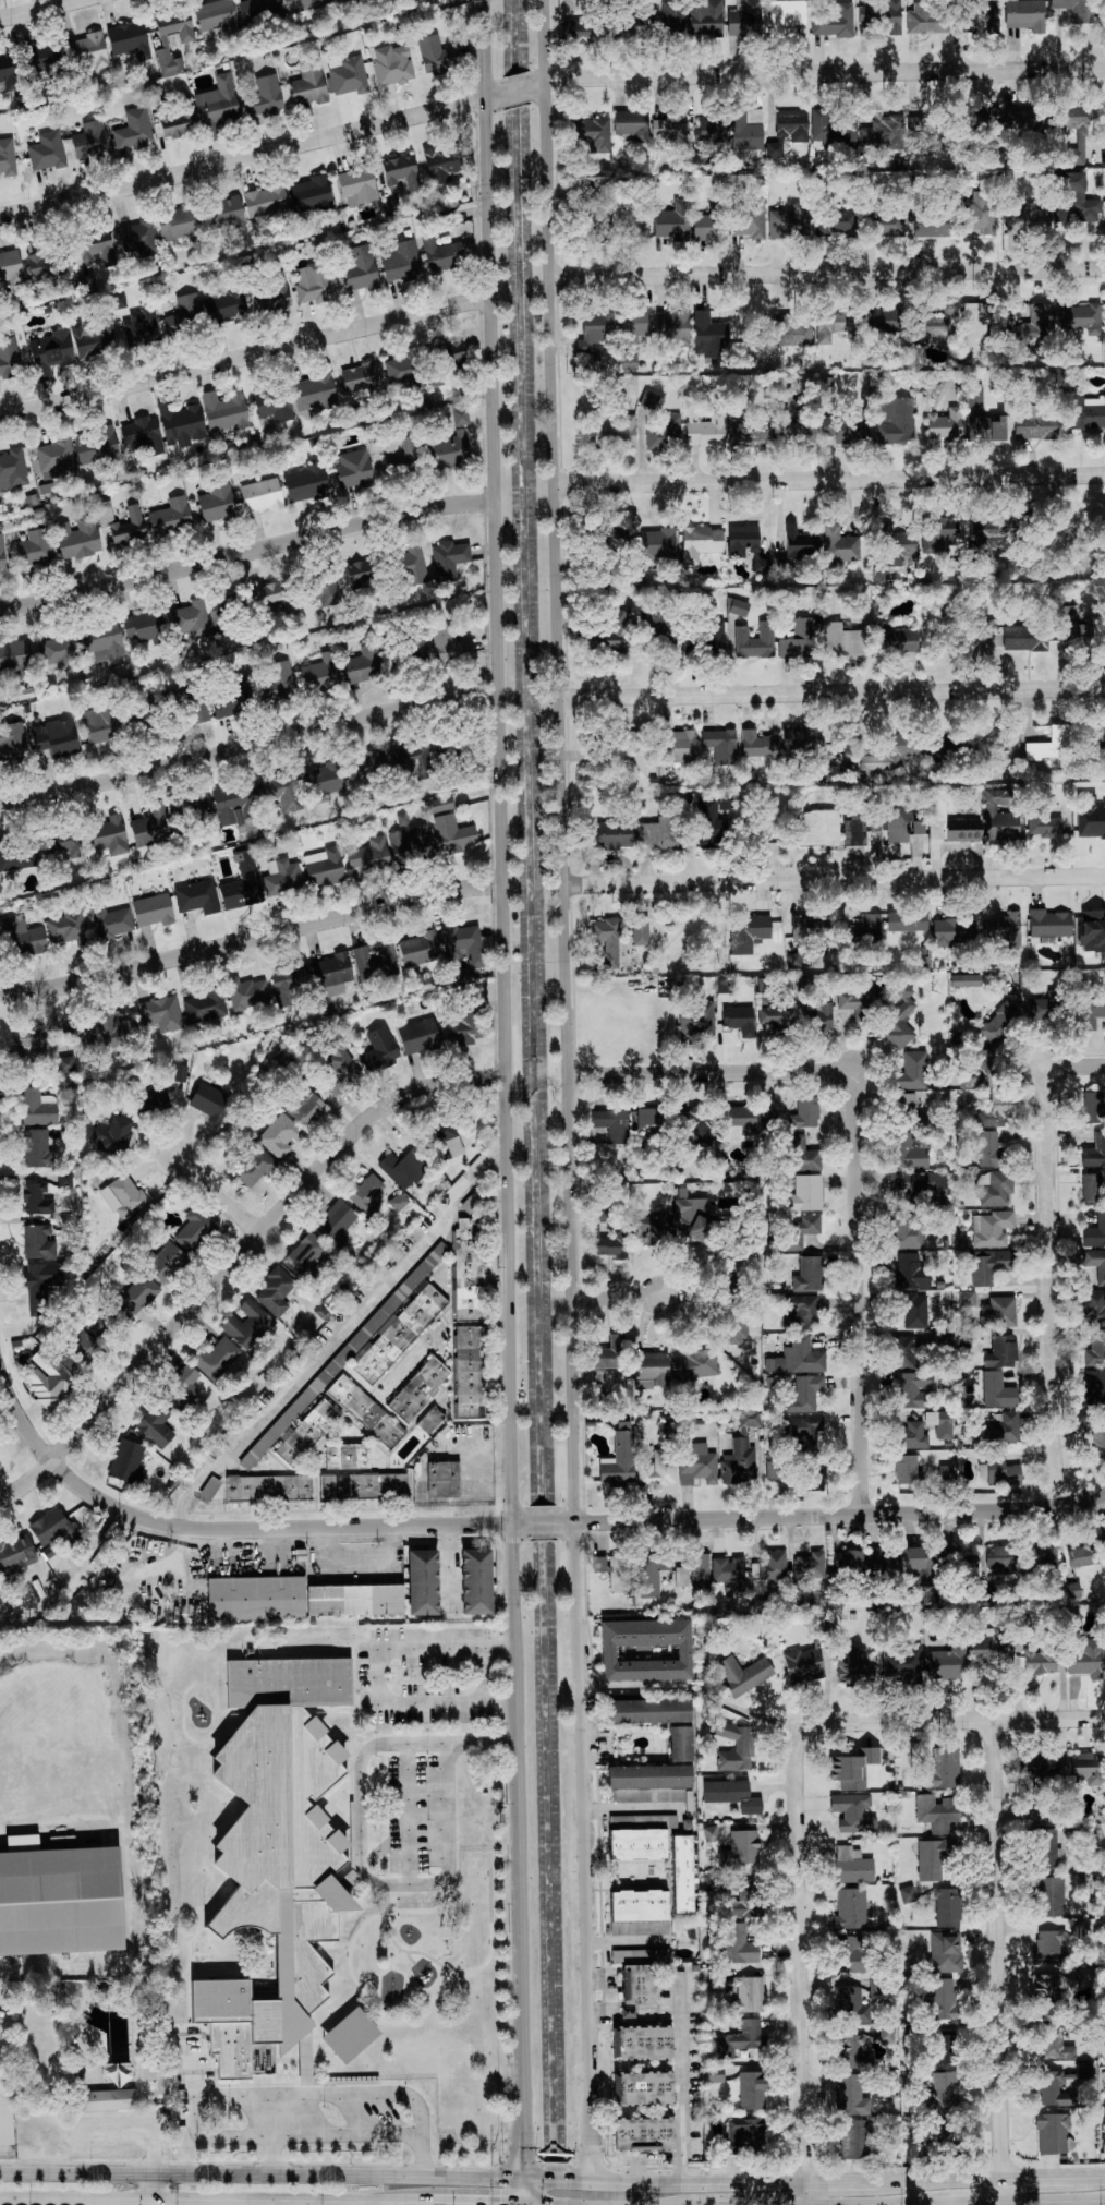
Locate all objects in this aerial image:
building: (336, 1)
building: (301, 5)
road: (38, 9)
building: (1076, 9)
building: (257, 10)
building: (786, 14)
building: (1025, 14)
building: (671, 15)
building: (987, 15)
building: (216, 16)
building: (705, 17)
building: (881, 17)
building: (744, 19)
building: (926, 19)
building: (632, 21)
building: (835, 21)
building: (583, 31)
building: (172, 38)
building: (129, 39)
building: (87, 50)
building: (436, 55)
building: (38, 62)
building: (392, 64)
building: (7, 72)
building: (348, 74)
road: (816, 74)
building: (307, 85)
road: (517, 92)
building: (264, 97)
building: (217, 103)
building: (977, 115)
building: (1023, 117)
building: (1071, 119)
building: (177, 123)
building: (631, 123)
building: (921, 125)
building: (830, 128)
building: (670, 129)
building: (745, 129)
building: (133, 130)
building: (708, 130)
building: (788, 132)
building: (884, 132)
building: (593, 133)
building: (89, 140)
building: (49, 147)
building: (7, 155)
road: (252, 156)
building: (442, 164)
building: (401, 173)
building: (356, 185)
building: (311, 193)
building: (265, 201)
building: (1076, 202)
building: (979, 213)
building: (600, 219)
building: (749, 219)
building: (1027, 219)
building: (672, 221)
building: (789, 221)
building: (841, 222)
building: (884, 222)
building: (930, 222)
building: (179, 224)
building: (709, 224)
building: (137, 233)
building: (96, 246)
building: (441, 254)
building: (401, 261)
building: (39, 265)
building: (10, 268)
building: (359, 273)
road: (827, 273)
building: (86, 282)
building: (315, 282)
building: (271, 293)
building: (226, 305)
building: (184, 313)
building: (1080, 318)
building: (883, 322)
building: (934, 324)
building: (982, 324)
building: (142, 325)
building: (836, 325)
building: (672, 326)
building: (1033, 326)
building: (595, 330)
building: (792, 334)
building: (632, 336)
building: (708, 336)
building: (93, 338)
building: (50, 352)
road: (244, 356)
building: (447, 357)
building: (9, 358)
building: (401, 367)
building: (359, 377)
building: (313, 393)
building: (649, 399)
building: (274, 405)
building: (223, 412)
building: (1085, 412)
building: (460, 417)
building: (981, 418)
building: (895, 421)
building: (181, 423)
building: (789, 424)
building: (944, 424)
building: (1034, 425)
building: (846, 427)
building: (707, 431)
building: (139, 432)
building: (663, 432)
building: (616, 433)
building: (750, 433)
building: (95, 446)
building: (446, 449)
building: (56, 458)
building: (401, 458)
building: (353, 468)
building: (13, 469)
road: (830, 479)
building: (305, 483)
building: (260, 495)
building: (217, 503)
building: (104, 511)
building: (170, 515)
building: (127, 527)
building: (994, 530)
building: (611, 534)
building: (940, 535)
building: (77, 538)
building: (700, 542)
building: (800, 542)
building: (657, 543)
building: (925, 543)
building: (838, 545)
building: (895, 545)
building: (35, 546)
building: (746, 546)
road: (246, 551)
building: (2, 553)
building: (449, 558)
building: (413, 565)
building: (360, 573)
building: (639, 576)
building: (324, 590)
building: (275, 592)
building: (738, 606)
building: (223, 612)
building: (191, 619)
building: (1067, 624)
building: (143, 626)
building: (654, 628)
building: (609, 632)
building: (714, 634)
building: (1024, 638)
building: (798, 639)
building: (842, 640)
building: (895, 640)
building: (755, 641)
building: (100, 642)
building: (690, 642)
building: (449, 646)
building: (58, 652)
building: (14, 659)
building: (362, 664)
building: (320, 674)
building: (279, 678)
road: (833, 691)
building: (231, 698)
building: (186, 702)
building: (147, 709)
building: (100, 724)
building: (1093, 735)
building: (54, 737)
building: (998, 737)
building: (12, 743)
building: (757, 744)
building: (1051, 744)
road: (247, 745)
building: (719, 745)
building: (678, 746)
building: (441, 747)
building: (940, 748)
building: (626, 751)
building: (894, 751)
building: (406, 761)
building: (364, 766)
building: (321, 780)
building: (281, 792)
building: (233, 802)
building: (726, 803)
building: (439, 804)
building: (187, 806)
building: (999, 816)
building: (1090, 816)
building: (901, 822)
building: (950, 823)
building: (1044, 826)
building: (150, 827)
building: (818, 828)
building: (854, 830)
building: (657, 832)
building: (453, 833)
building: (611, 834)
building: (108, 835)
building: (410, 843)
building: (61, 845)
building: (16, 855)
building: (369, 856)
building: (324, 867)
building: (282, 877)
road: (836, 877)
building: (242, 883)
building: (197, 896)
building: (151, 909)
building: (907, 920)
building: (111, 921)
building: (1048, 924)
building: (805, 927)
building: (66, 928)
building: (1003, 928)
building: (640, 930)
building: (748, 930)
building: (1092, 930)
building: (862, 931)
building: (952, 931)
road: (250, 937)
building: (23, 938)
building: (606, 938)
building: (418, 949)
building: (464, 949)
building: (375, 960)
building: (332, 973)
building: (964, 979)
building: (289, 980)
building: (803, 984)
building: (248, 993)
building: (855, 1000)
building: (1046, 1005)
building: (204, 1008)
building: (1089, 1011)
building: (161, 1013)
building: (776, 1015)
building: (816, 1015)
building: (900, 1016)
building: (696, 1017)
building: (739, 1020)
building: (466, 1021)
building: (999, 1023)
building: (116, 1028)
building: (76, 1036)
building: (417, 1036)
building: (29, 1046)
building: (378, 1048)
building: (65, 1063)
road: (1074, 1065)
road: (688, 1069)
building: (911, 1071)
building: (979, 1071)
building: (179, 1072)
building: (342, 1076)
road: (503, 1088)
road: (572, 1089)
building: (148, 1098)
building: (210, 1101)
building: (37, 1107)
building: (305, 1107)
building: (1092, 1107)
building: (908, 1111)
building: (805, 1112)
building: (994, 1112)
building: (653, 1120)
building: (766, 1121)
building: (738, 1122)
building: (611, 1124)
building: (112, 1134)
building: (279, 1135)
building: (442, 1135)
building: (36, 1148)
building: (988, 1149)
building: (909, 1150)
building: (1094, 1150)
building: (809, 1159)
building: (253, 1165)
building: (403, 1167)
building: (64, 1179)
building: (1091, 1188)
road: (220, 1192)
building: (365, 1192)
building: (805, 1193)
building: (123, 1196)
building: (37, 1198)
building: (471, 1201)
building: (694, 1218)
building: (335, 1221)
building: (651, 1228)
building: (801, 1228)
building: (992, 1228)
building: (193, 1229)
building: (907, 1230)
building: (1095, 1231)
building: (608, 1239)
building: (38, 1242)
building: (304, 1255)
road: (236, 1258)
building: (165, 1262)
road: (863, 1262)
building: (1096, 1264)
building: (989, 1266)
building: (469, 1268)
building: (910, 1272)
building: (809, 1274)
building: (40, 1286)
road: (1051, 1286)
building: (275, 1290)
building: (137, 1292)
road: (619, 1293)
building: (967, 1298)
building: (1093, 1306)
building: (913, 1311)
building: (999, 1312)
building: (802, 1313)
building: (107, 1321)
building: (247, 1324)
building: (737, 1330)
road: (339, 1338)
building: (910, 1348)
building: (1095, 1348)
building: (366, 1349)
building: (1001, 1351)
building: (80, 1352)
building: (610, 1353)
building: (802, 1355)
building: (218, 1358)
building: (694, 1366)
building: (651, 1370)
building: (469, 1372)
building: (47, 1382)
building: (181, 1386)
building: (418, 1388)
building: (910, 1388)
building: (1094, 1388)
building: (997, 1390)
building: (804, 1393)
building: (365, 1411)
building: (749, 1419)
building: (429, 1420)
road: (21, 1421)
building: (940, 1423)
building: (155, 1424)
building: (805, 1427)
building: (1003, 1427)
building: (305, 1433)
building: (911, 1434)
building: (1097, 1438)
building: (348, 1456)
building: (126, 1461)
building: (618, 1461)
building: (738, 1462)
building: (697, 1465)
building: (773, 1469)
building: (907, 1469)
building: (657, 1470)
building: (1001, 1471)
building: (945, 1472)
building: (813, 1475)
building: (442, 1479)
building: (363, 1485)
building: (268, 1487)
road: (809, 1516)
building: (52, 1527)
road: (270, 1528)
building: (1103, 1540)
building: (1083, 1553)
building: (15, 1554)
building: (1000, 1559)
building: (850, 1562)
building: (958, 1562)
building: (883, 1564)
building: (809, 1565)
building: (921, 1565)
building: (1041, 1565)
building: (767, 1569)
building: (614, 1570)
building: (692, 1570)
building: (729, 1573)
building: (652, 1574)
building: (422, 1581)
building: (476, 1581)
building: (1071, 1590)
building: (255, 1598)
building: (354, 1600)
building: (822, 1628)
building: (991, 1650)
building: (646, 1653)
building: (1040, 1658)
building: (1085, 1659)
building: (802, 1662)
building: (947, 1663)
building: (851, 1666)
building: (743, 1674)
road: (376, 1685)
building: (648, 1711)
road: (1053, 1723)
road: (874, 1725)
building: (680, 1744)
building: (734, 1747)
building: (943, 1767)
building: (852, 1768)
building: (1080, 1768)
building: (1035, 1770)
building: (645, 1781)
building: (731, 1794)
building: (936, 1811)
building: (853, 1812)
road: (409, 1814)
building: (709, 1833)
building: (20, 1842)
building: (636, 1844)
road: (360, 1847)
building: (741, 1848)
building: (1047, 1849)
building: (272, 1852)
building: (934, 1857)
building: (851, 1865)
building: (681, 1873)
road: (129, 1885)
building: (907, 1893)
building: (1048, 1896)
building: (746, 1900)
building: (60, 1903)
building: (850, 1907)
building: (947, 1907)
building: (639, 1912)
building: (1079, 1931)
building: (741, 1943)
building: (1047, 1945)
building: (944, 1952)
building: (848, 1953)
building: (640, 1955)
road: (1000, 1964)
building: (637, 1984)
building: (741, 1991)
building: (1046, 1992)
building: (938, 1998)
road: (802, 1999)
building: (851, 2004)
building: (1103, 2029)
building: (886, 2033)
building: (349, 2035)
building: (740, 2039)
building: (642, 2043)
building: (1057, 2044)
building: (944, 2047)
building: (854, 2051)
building: (1083, 2069)
building: (715, 2073)
building: (1104, 2075)
road: (681, 2080)
building: (153, 2082)
park: (153, 2082)
building: (643, 2088)
building: (751, 2089)
building: (1054, 2089)
road: (218, 2093)
building: (942, 2093)
building: (850, 2095)
building: (100, 2100)
park: (7, 2129)
building: (745, 2131)
building: (1052, 2131)
building: (934, 2132)
building: (643, 2133)
building: (855, 2138)
building: (734, 2149)
road: (272, 2156)
road: (260, 2176)
road: (1089, 2177)
road: (1036, 2178)
traffic signals: (543, 2179)
road: (942, 2179)
road: (661, 2181)
road: (843, 2182)
road: (522, 2191)
road: (215, 2200)
road: (1053, 2202)
road: (476, 2203)
traffic signals: (499, 2204)
road: (522, 2204)
road: (527, 2204)
road: (969, 2204)

